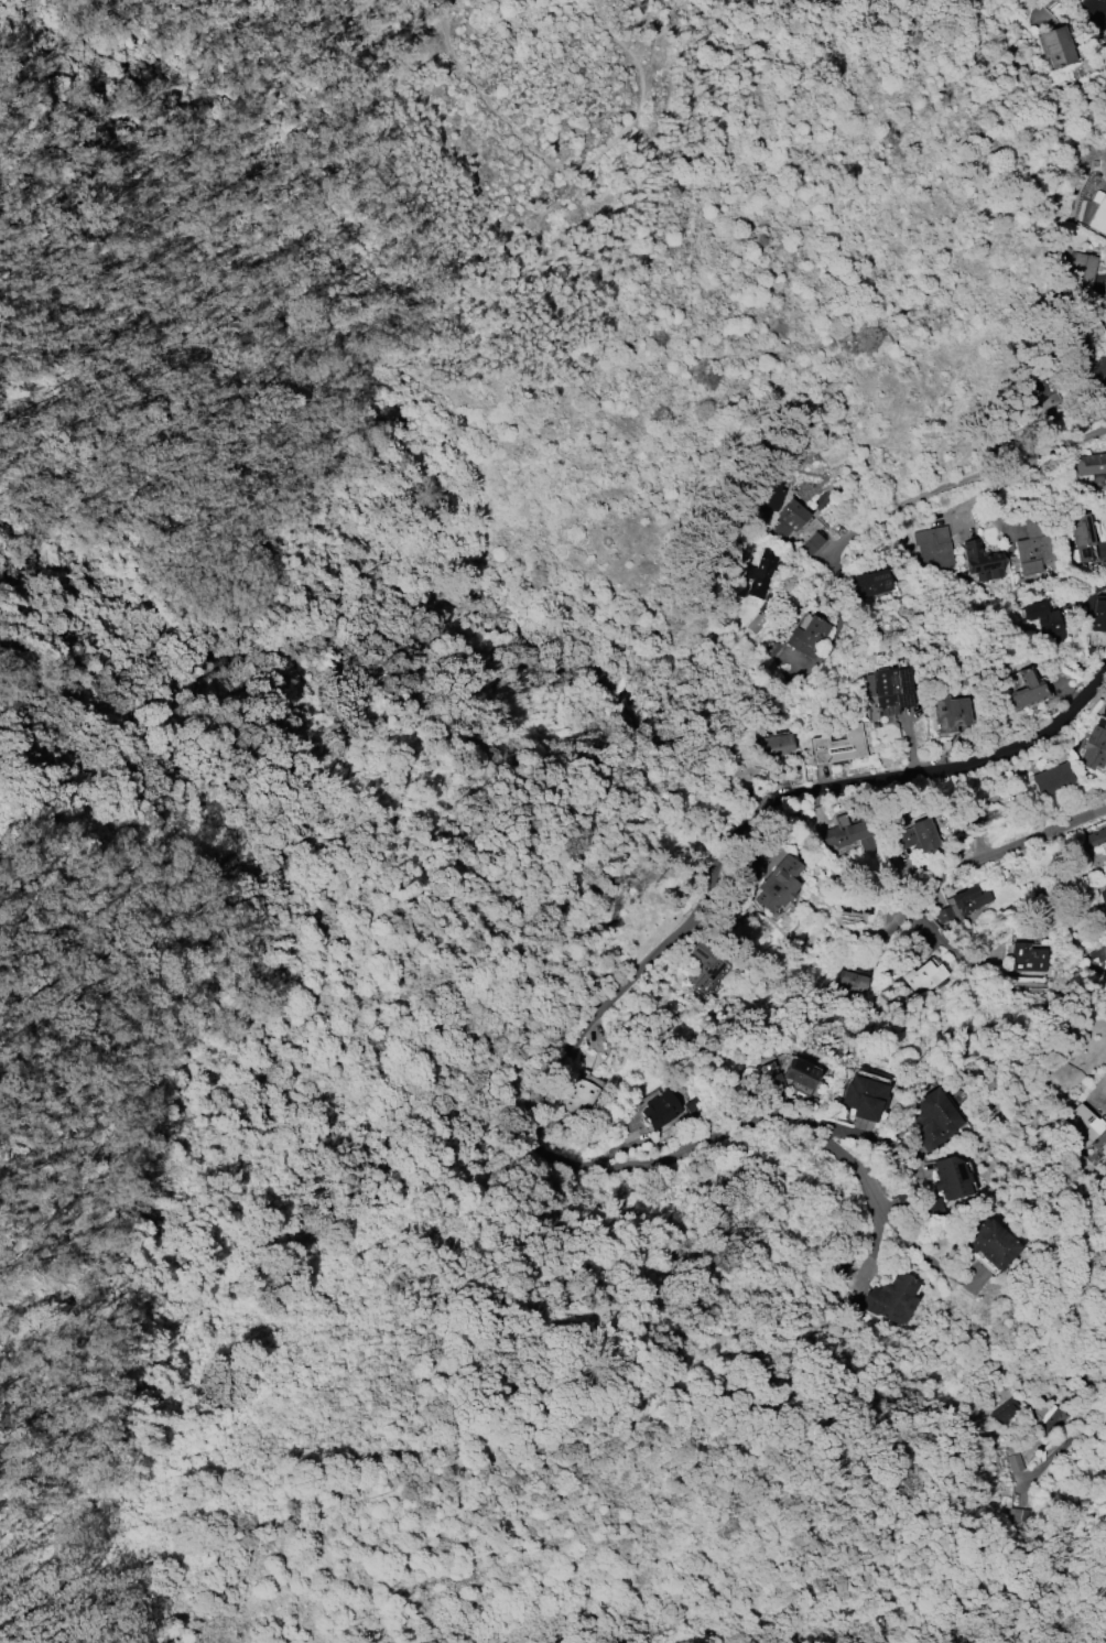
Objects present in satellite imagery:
building: (1095, 13)
building: (1058, 45)
road: (552, 164)
building: (1098, 215)
building: (1080, 270)
road: (1098, 300)
building: (1096, 369)
building: (1047, 390)
building: (1092, 467)
building: (772, 494)
road: (935, 495)
building: (792, 515)
building: (1081, 534)
building: (811, 544)
building: (933, 547)
building: (1034, 547)
building: (982, 561)
building: (761, 571)
building: (870, 583)
road: (1086, 592)
building: (1098, 615)
building: (1045, 620)
building: (811, 636)
building: (891, 689)
building: (1028, 691)
building: (950, 713)
building: (773, 745)
building: (838, 746)
building: (1093, 748)
road: (948, 768)
building: (1051, 778)
building: (846, 833)
building: (917, 835)
building: (1095, 837)
road: (1020, 845)
building: (1105, 860)
building: (778, 884)
building: (1104, 897)
building: (963, 905)
building: (1098, 952)
building: (1027, 958)
building: (705, 965)
building: (924, 977)
building: (853, 981)
building: (1104, 1063)
building: (793, 1075)
building: (866, 1096)
building: (581, 1098)
road: (1100, 1104)
building: (661, 1109)
building: (934, 1120)
building: (1084, 1124)
road: (891, 1144)
road: (555, 1154)
building: (950, 1177)
building: (991, 1243)
road: (914, 1244)
building: (892, 1298)
building: (1008, 1410)
building: (1047, 1415)
building: (1016, 1462)
road: (1102, 1466)

